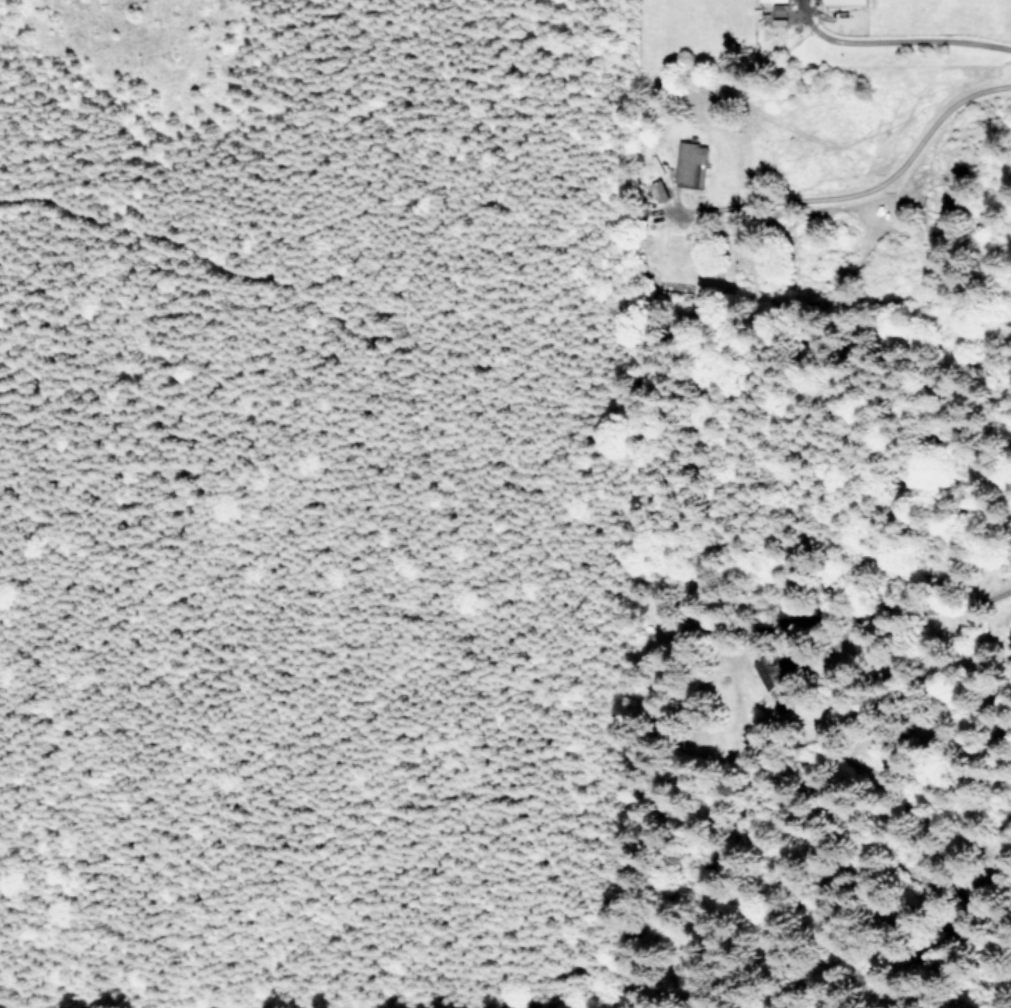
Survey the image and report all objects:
building: (772, 0)
building: (844, 2)
road: (894, 33)
building: (688, 160)
road: (857, 182)
building: (773, 680)

